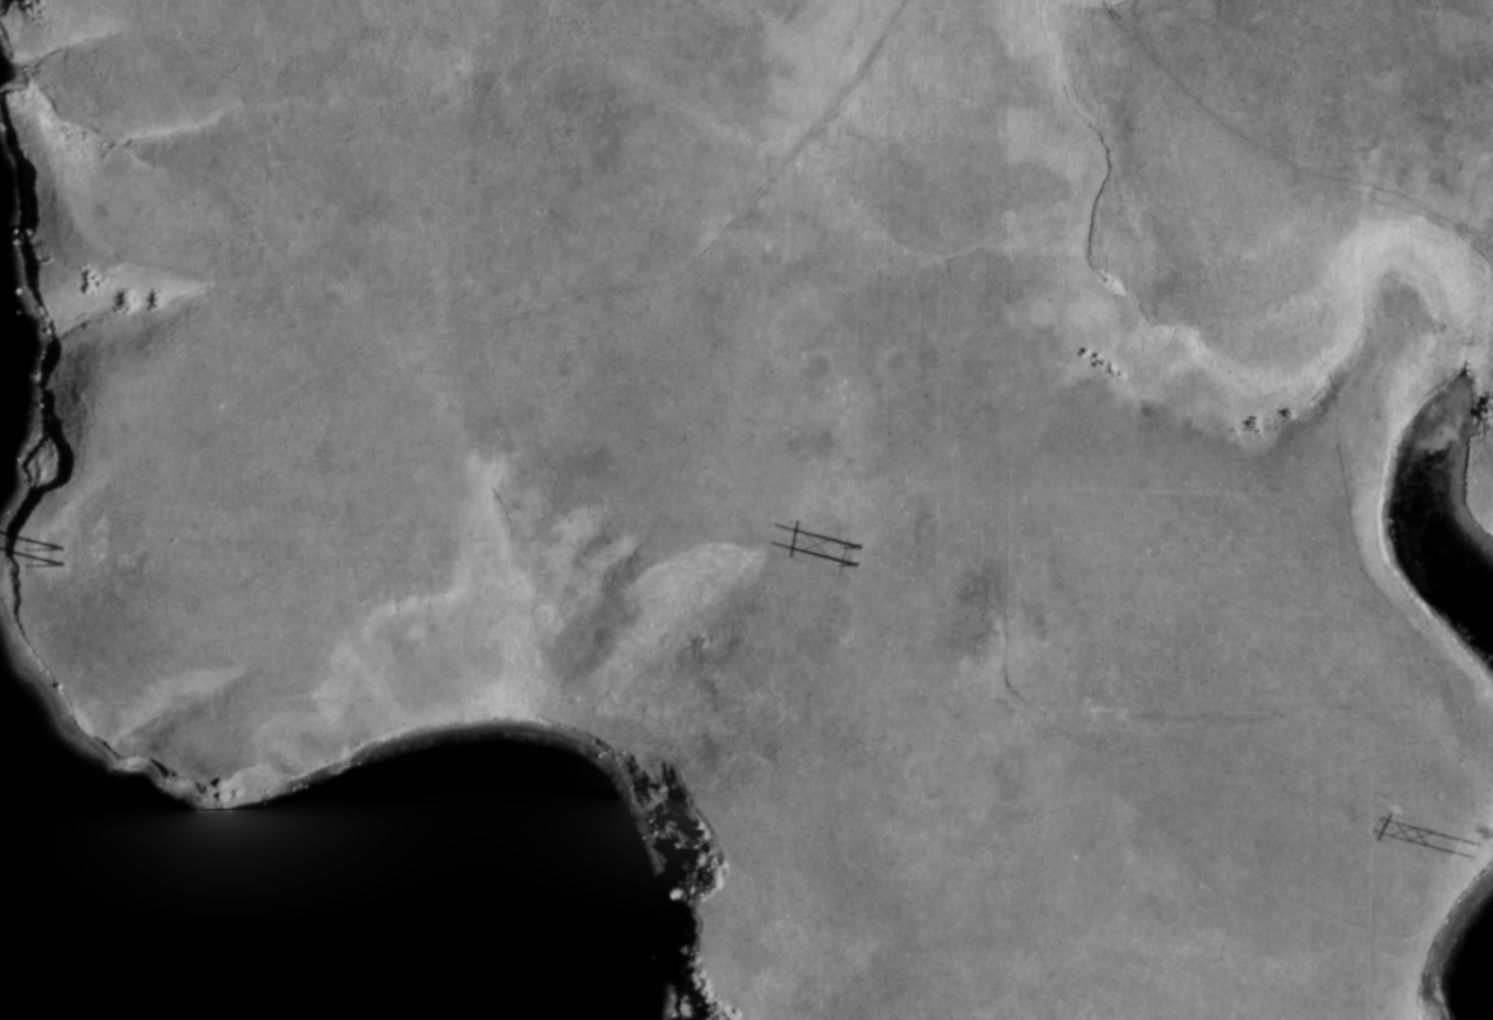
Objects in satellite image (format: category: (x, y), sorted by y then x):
power tower: (51, 556)
power tower: (860, 558)
power tower: (1470, 853)

